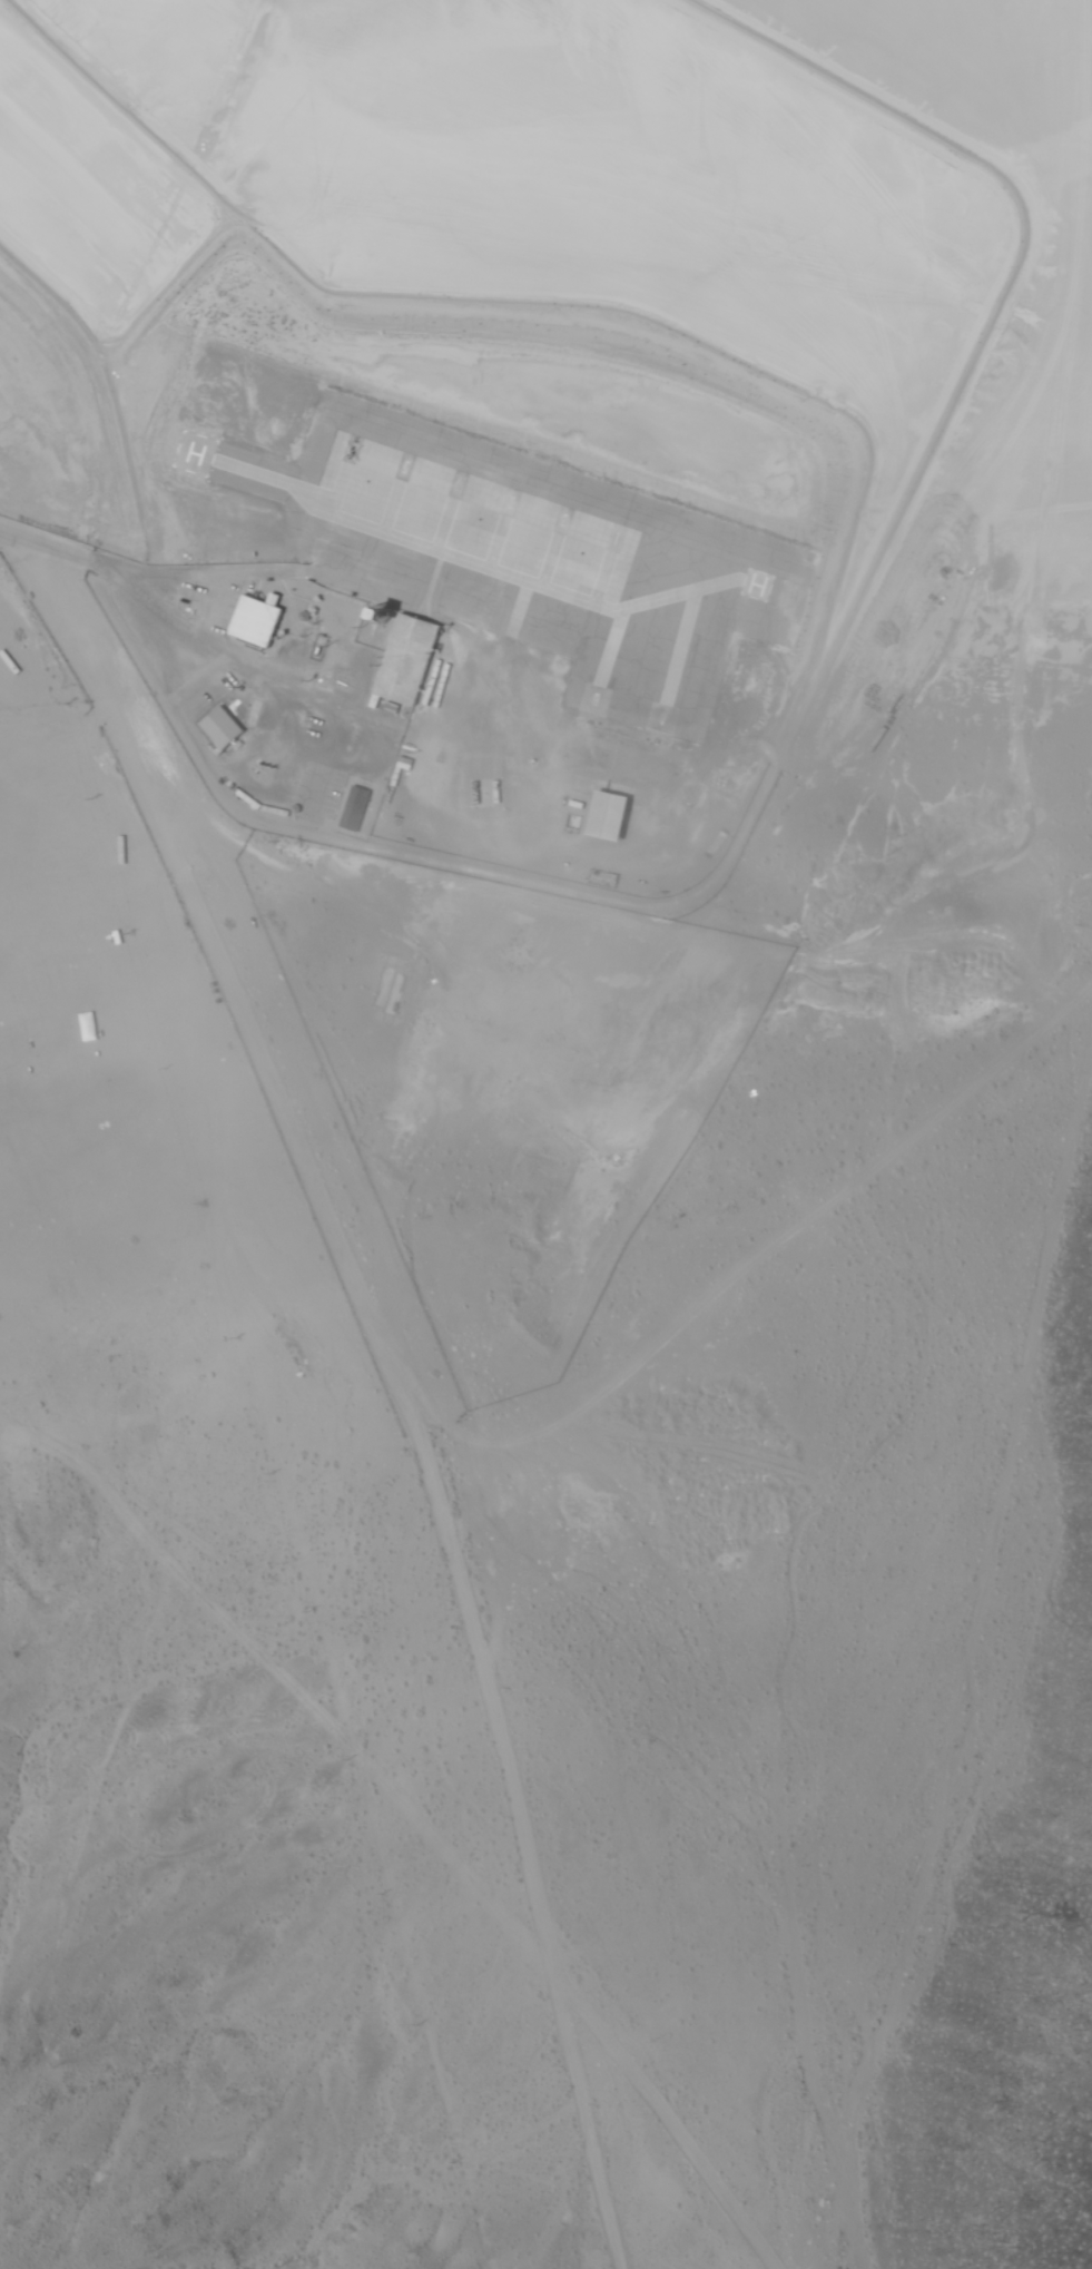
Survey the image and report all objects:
airport taxiway: (76, 197)
airport taxiway: (161, 283)
helipad: (194, 456)
airport taxiway: (311, 492)
airport taxiway: (336, 492)
airport taxiway: (388, 509)
airport taxiway: (443, 527)
airport taxiway: (378, 528)
road: (45, 544)
airport taxiway: (495, 544)
airport taxiway: (432, 546)
airport apron: (523, 557)
airport taxiway: (549, 562)
airport taxiway: (472, 563)
airport taxiway: (484, 563)
airport taxiway: (601, 580)
airport taxiway: (538, 581)
helipad: (756, 586)
airport taxiway: (696, 593)
airport taxiway: (590, 599)
airport taxiway: (617, 613)
building: (245, 619)
airport taxiway: (610, 646)
airport taxiway: (679, 647)
building: (402, 659)
parking lot: (324, 669)
road: (27, 689)
building: (1, 690)
road: (53, 713)
building: (214, 726)
parking lot: (316, 794)
building: (345, 808)
building: (599, 815)
building: (592, 878)
airport: (552, 900)
road: (332, 1237)
building: (758, 1397)
road: (584, 2120)

